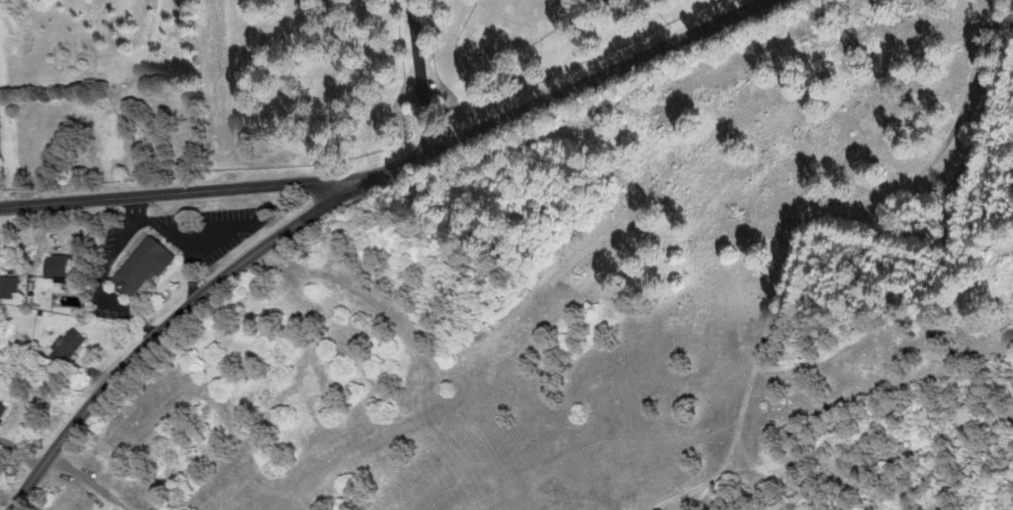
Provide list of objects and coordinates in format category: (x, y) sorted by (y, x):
road: (415, 74)
road: (562, 89)
building: (101, 136)
road: (180, 195)
building: (52, 265)
building: (138, 265)
building: (6, 284)
road: (164, 322)
building: (64, 345)
building: (1, 408)
road: (88, 479)

